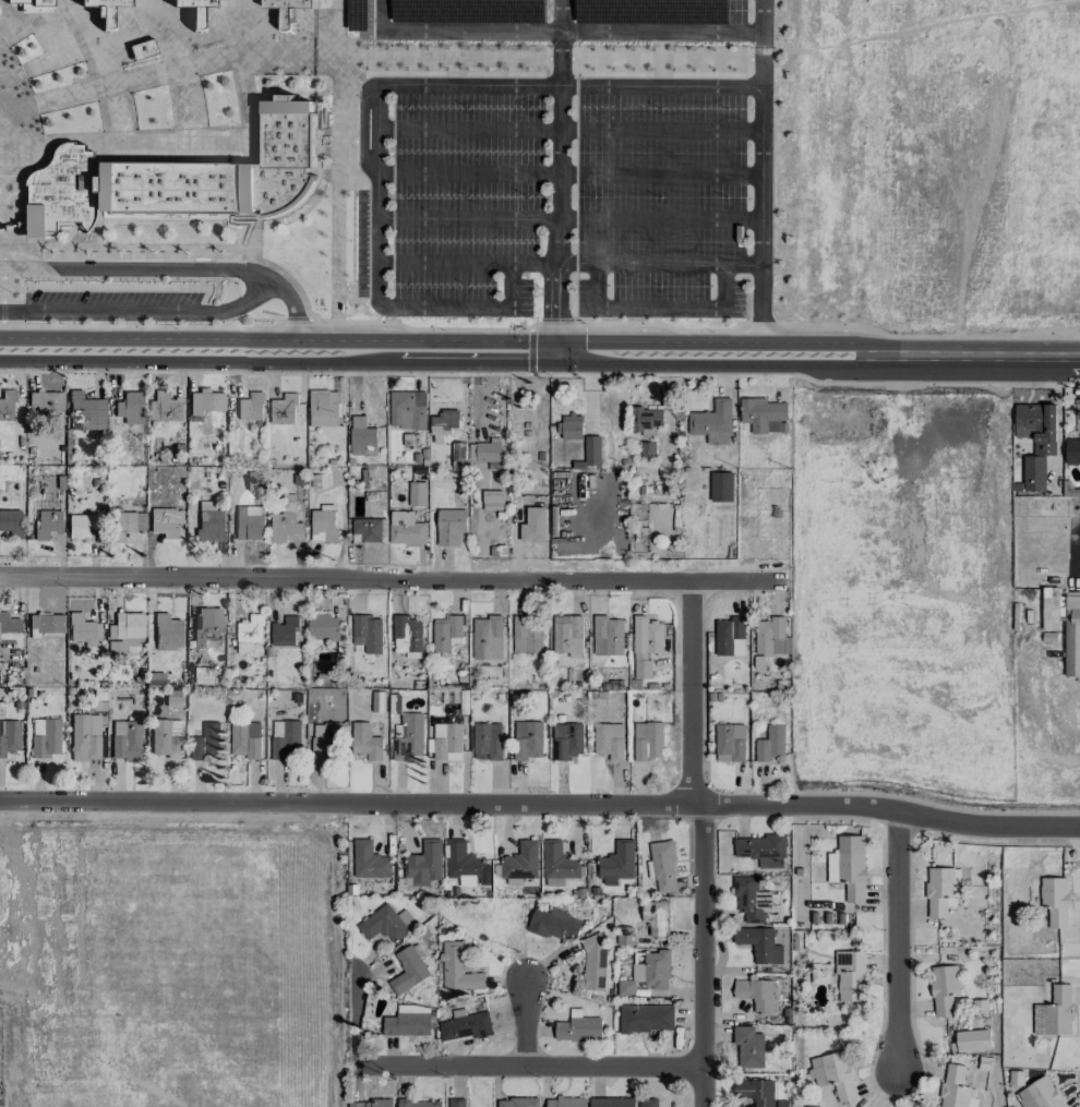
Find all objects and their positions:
building: (34, 5)
building: (197, 10)
building: (289, 10)
building: (106, 11)
road: (560, 14)
road: (453, 29)
road: (676, 29)
road: (561, 33)
road: (761, 34)
building: (142, 50)
road: (761, 63)
road: (569, 85)
road: (568, 128)
road: (559, 149)
road: (375, 151)
road: (567, 171)
road: (759, 175)
building: (177, 179)
road: (466, 219)
road: (659, 221)
road: (442, 263)
road: (533, 263)
road: (576, 263)
road: (660, 264)
road: (742, 265)
road: (276, 285)
road: (758, 301)
road: (657, 305)
road: (421, 308)
road: (292, 309)
road: (557, 314)
road: (446, 340)
road: (986, 356)
road: (447, 364)
traffic signals: (557, 365)
building: (47, 402)
building: (206, 402)
building: (7, 406)
building: (250, 407)
building: (130, 408)
building: (164, 408)
building: (323, 408)
building: (284, 409)
building: (408, 409)
building: (86, 412)
building: (761, 413)
building: (647, 418)
building: (444, 421)
building: (712, 422)
building: (571, 426)
building: (361, 434)
building: (1036, 440)
building: (592, 449)
building: (647, 450)
building: (1072, 450)
building: (485, 454)
building: (254, 481)
building: (721, 485)
building: (418, 493)
building: (492, 500)
building: (285, 519)
building: (165, 522)
building: (208, 522)
building: (11, 524)
building: (46, 524)
building: (249, 524)
building: (323, 524)
building: (121, 525)
building: (79, 526)
building: (451, 526)
building: (533, 526)
building: (406, 528)
building: (368, 529)
road: (388, 581)
building: (46, 624)
building: (1064, 624)
building: (323, 626)
building: (11, 627)
building: (206, 628)
building: (83, 630)
building: (284, 631)
building: (124, 633)
building: (167, 633)
building: (368, 633)
building: (446, 633)
building: (250, 634)
building: (407, 634)
building: (527, 634)
building: (728, 634)
building: (568, 635)
building: (608, 636)
building: (771, 636)
building: (488, 637)
building: (647, 646)
building: (739, 647)
building: (205, 675)
road: (691, 696)
building: (171, 701)
building: (9, 737)
building: (45, 737)
building: (84, 737)
building: (166, 738)
building: (245, 738)
building: (409, 738)
building: (286, 739)
building: (527, 739)
building: (127, 741)
building: (207, 741)
building: (488, 741)
building: (567, 741)
building: (609, 741)
building: (648, 741)
building: (326, 742)
building: (365, 742)
building: (447, 742)
building: (730, 743)
building: (770, 744)
road: (351, 805)
road: (891, 813)
building: (761, 850)
building: (369, 861)
building: (559, 861)
building: (520, 863)
building: (617, 863)
building: (423, 864)
building: (465, 865)
building: (662, 866)
building: (849, 867)
building: (939, 890)
building: (751, 899)
building: (1055, 900)
building: (657, 917)
building: (386, 924)
building: (553, 924)
building: (624, 937)
building: (759, 943)
road: (898, 944)
road: (704, 956)
building: (593, 962)
building: (458, 968)
building: (408, 970)
building: (647, 973)
building: (851, 975)
building: (944, 989)
building: (756, 994)
building: (1055, 1012)
building: (646, 1018)
road: (358, 1021)
building: (407, 1024)
road: (526, 1024)
building: (465, 1025)
building: (972, 1040)
building: (748, 1046)
road: (530, 1068)
building: (835, 1074)
building: (956, 1087)
building: (755, 1091)
building: (567, 1102)
building: (612, 1102)
building: (419, 1103)
building: (457, 1103)
building: (517, 1103)
building: (648, 1103)
building: (370, 1104)
building: (781, 1104)

